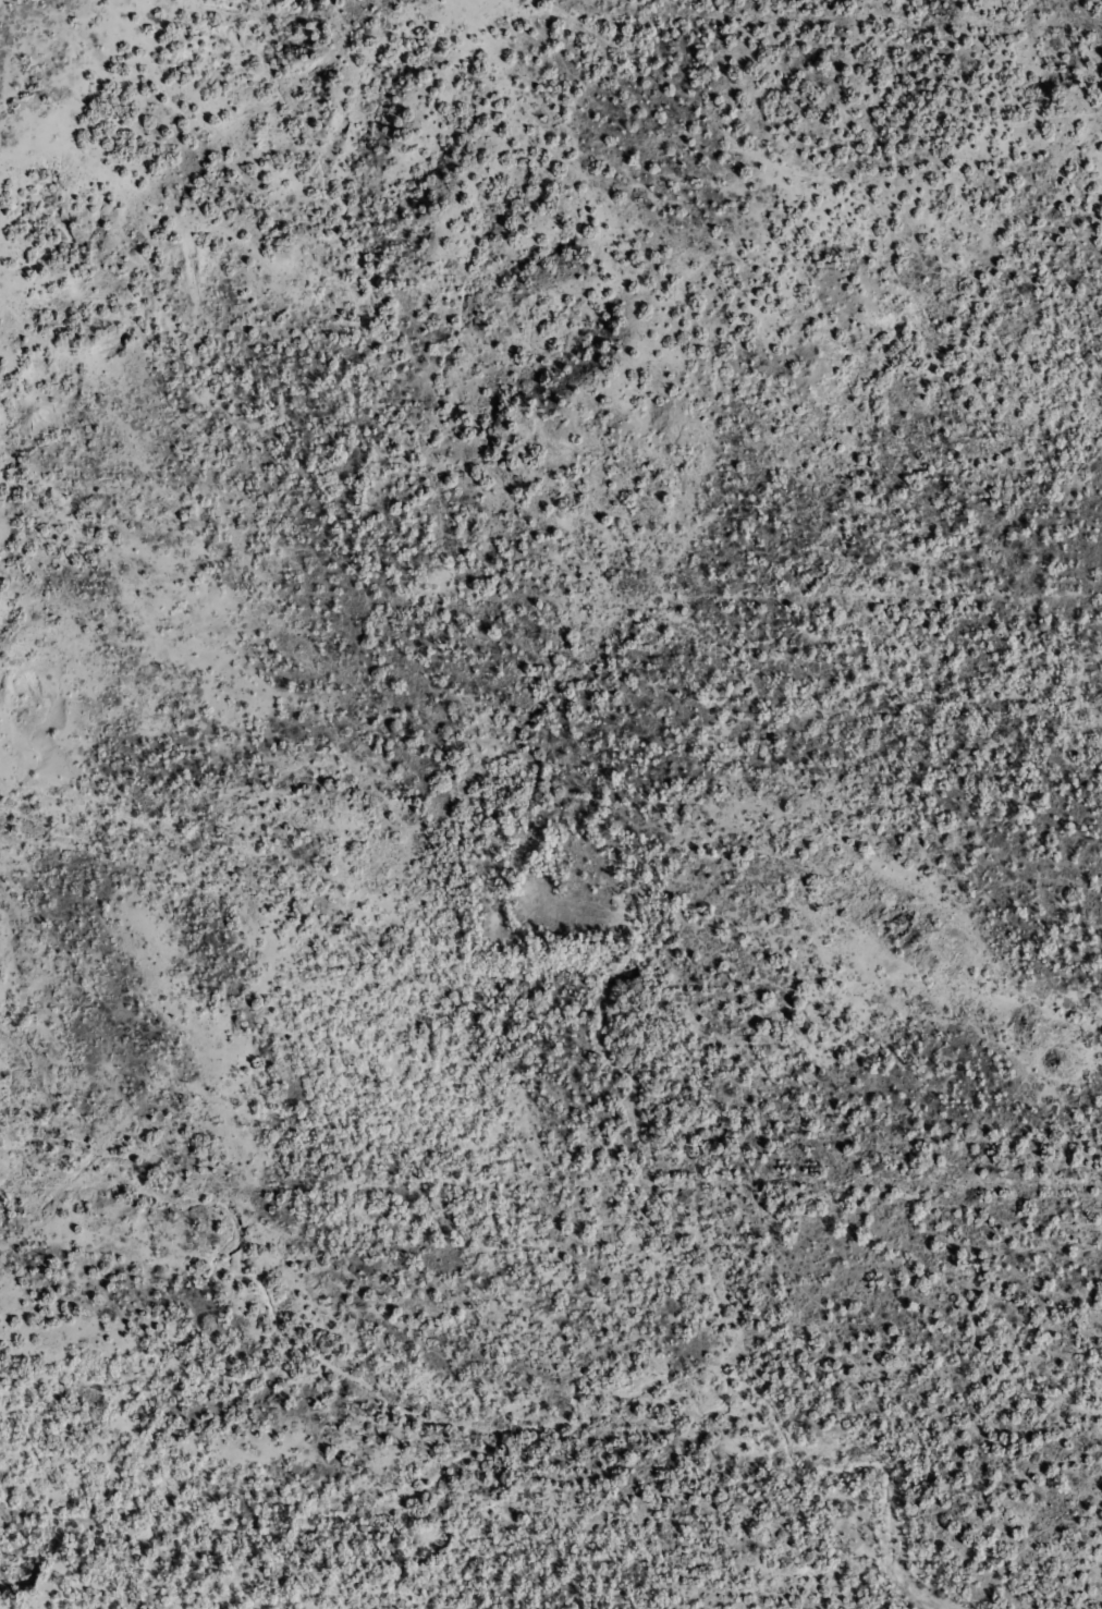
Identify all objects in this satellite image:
road: (24, 40)
road: (774, 169)

